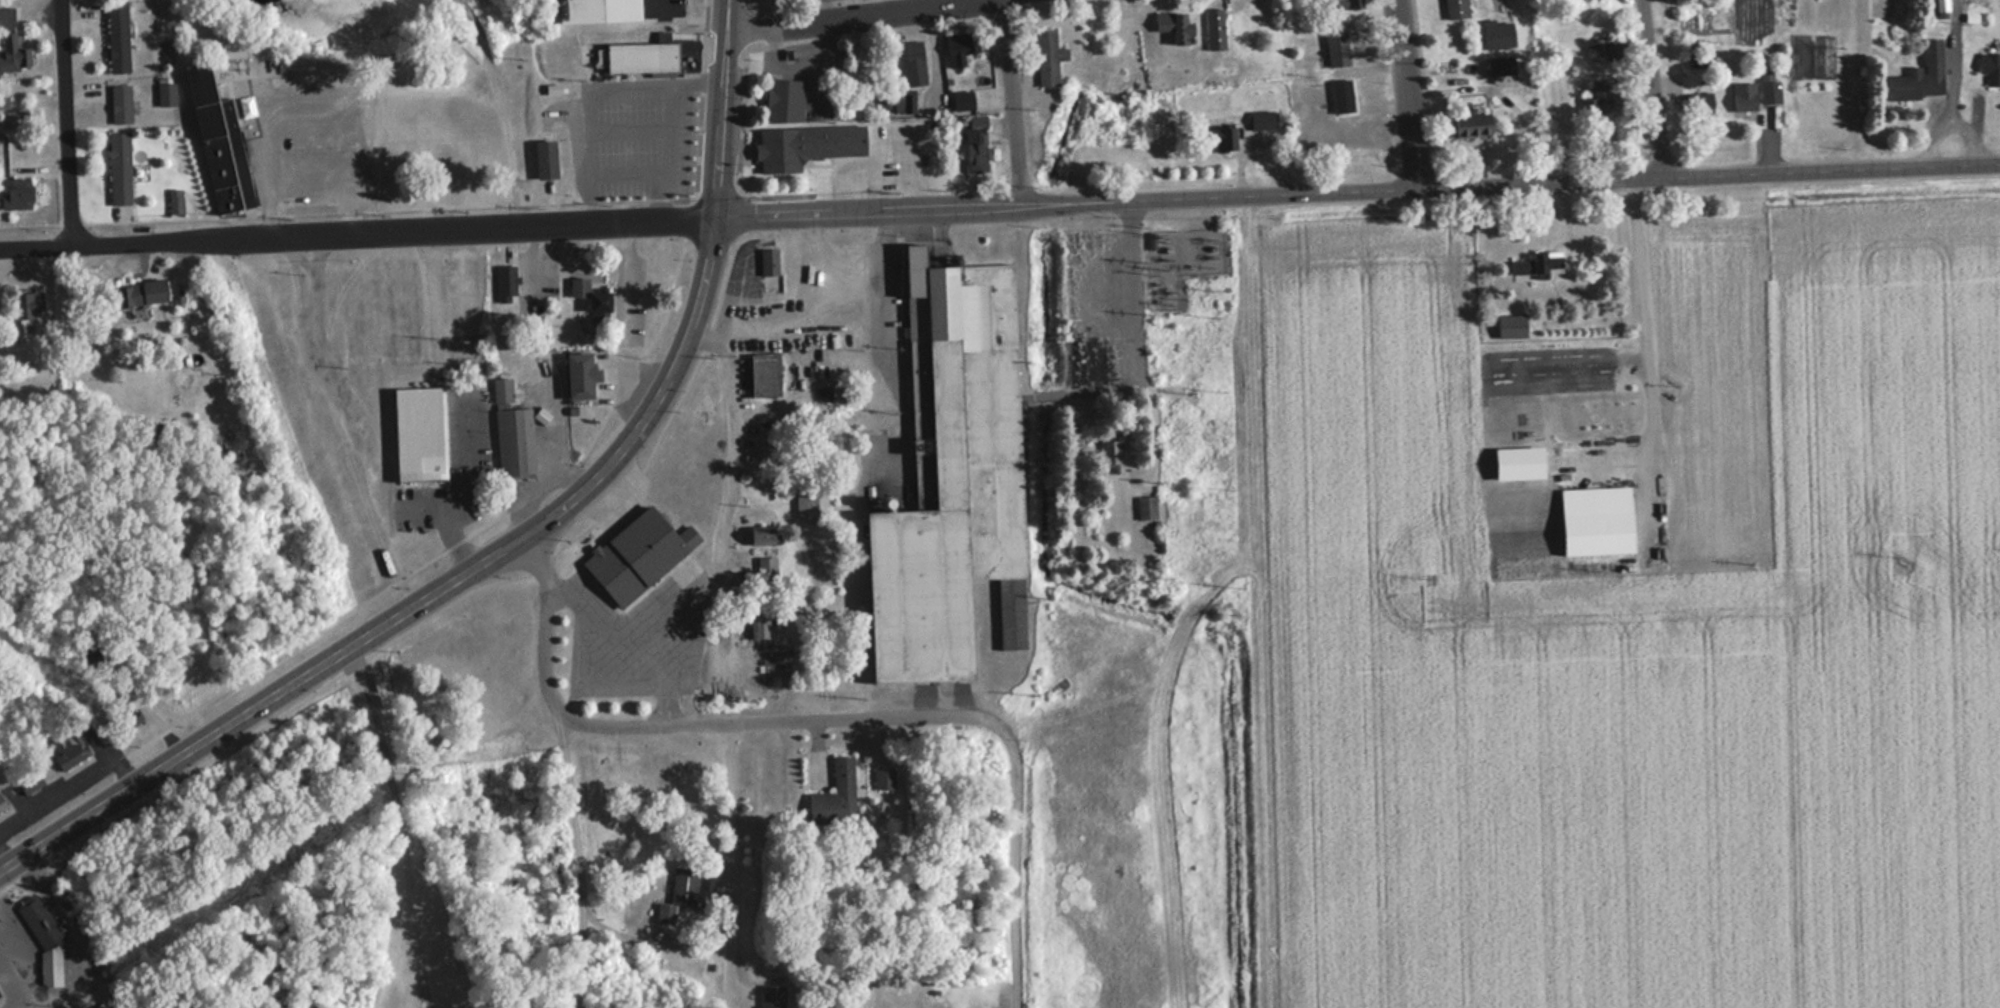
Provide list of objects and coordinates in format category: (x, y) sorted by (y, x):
parking lot: (823, 1)
building: (1350, 4)
road: (661, 5)
building: (1942, 5)
road: (792, 6)
building: (1455, 9)
building: (599, 11)
road: (852, 15)
building: (7, 18)
building: (1174, 26)
building: (1215, 29)
building: (117, 36)
building: (959, 47)
building: (1336, 47)
building: (647, 52)
road: (934, 53)
building: (13, 55)
building: (1046, 57)
building: (913, 63)
building: (1987, 63)
building: (1500, 66)
building: (1920, 76)
road: (660, 87)
road: (1653, 87)
road: (421, 89)
road: (305, 91)
building: (1770, 92)
building: (165, 94)
road: (1408, 94)
building: (1599, 96)
building: (1743, 97)
road: (1013, 100)
building: (783, 101)
building: (962, 101)
building: (1703, 103)
building: (119, 104)
building: (2, 105)
road: (500, 107)
building: (15, 119)
road: (68, 120)
building: (1262, 120)
building: (222, 127)
building: (1469, 127)
road: (636, 129)
parking lot: (634, 132)
building: (1220, 138)
parking lot: (310, 143)
building: (975, 145)
building: (804, 146)
building: (544, 160)
building: (119, 168)
road: (1359, 190)
building: (15, 193)
road: (652, 199)
building: (175, 201)
road: (488, 206)
road: (689, 220)
road: (30, 225)
road: (358, 230)
power substation: (1183, 261)
building: (1537, 264)
building: (769, 268)
road: (728, 273)
building: (507, 282)
road: (1577, 286)
building: (134, 292)
building: (594, 299)
road: (670, 304)
building: (28, 305)
road: (1628, 317)
building: (1513, 324)
road: (1647, 364)
building: (763, 376)
road: (331, 377)
building: (578, 377)
road: (1099, 384)
building: (502, 391)
road: (673, 411)
building: (1598, 414)
road: (734, 431)
building: (418, 434)
road: (596, 434)
building: (514, 442)
building: (220, 445)
building: (1110, 457)
road: (556, 460)
building: (1522, 461)
road: (1604, 461)
road: (572, 479)
building: (948, 479)
road: (467, 491)
building: (806, 503)
building: (1145, 507)
road: (420, 509)
building: (1594, 521)
building: (759, 536)
road: (574, 538)
road: (517, 541)
building: (634, 554)
building: (758, 620)
road: (625, 628)
road: (317, 633)
building: (92, 646)
road: (611, 672)
road: (668, 673)
road: (285, 711)
building: (130, 717)
road: (839, 717)
building: (67, 747)
building: (833, 778)
building: (884, 778)
building: (28, 781)
road: (73, 782)
building: (2, 802)
road: (401, 814)
road: (577, 855)
road: (732, 856)
road: (5, 857)
road: (13, 885)
building: (678, 892)
building: (44, 938)
road: (657, 942)
road: (75, 943)
road: (15, 964)
building: (772, 996)
road: (420, 997)
road: (426, 997)
road: (19, 999)

